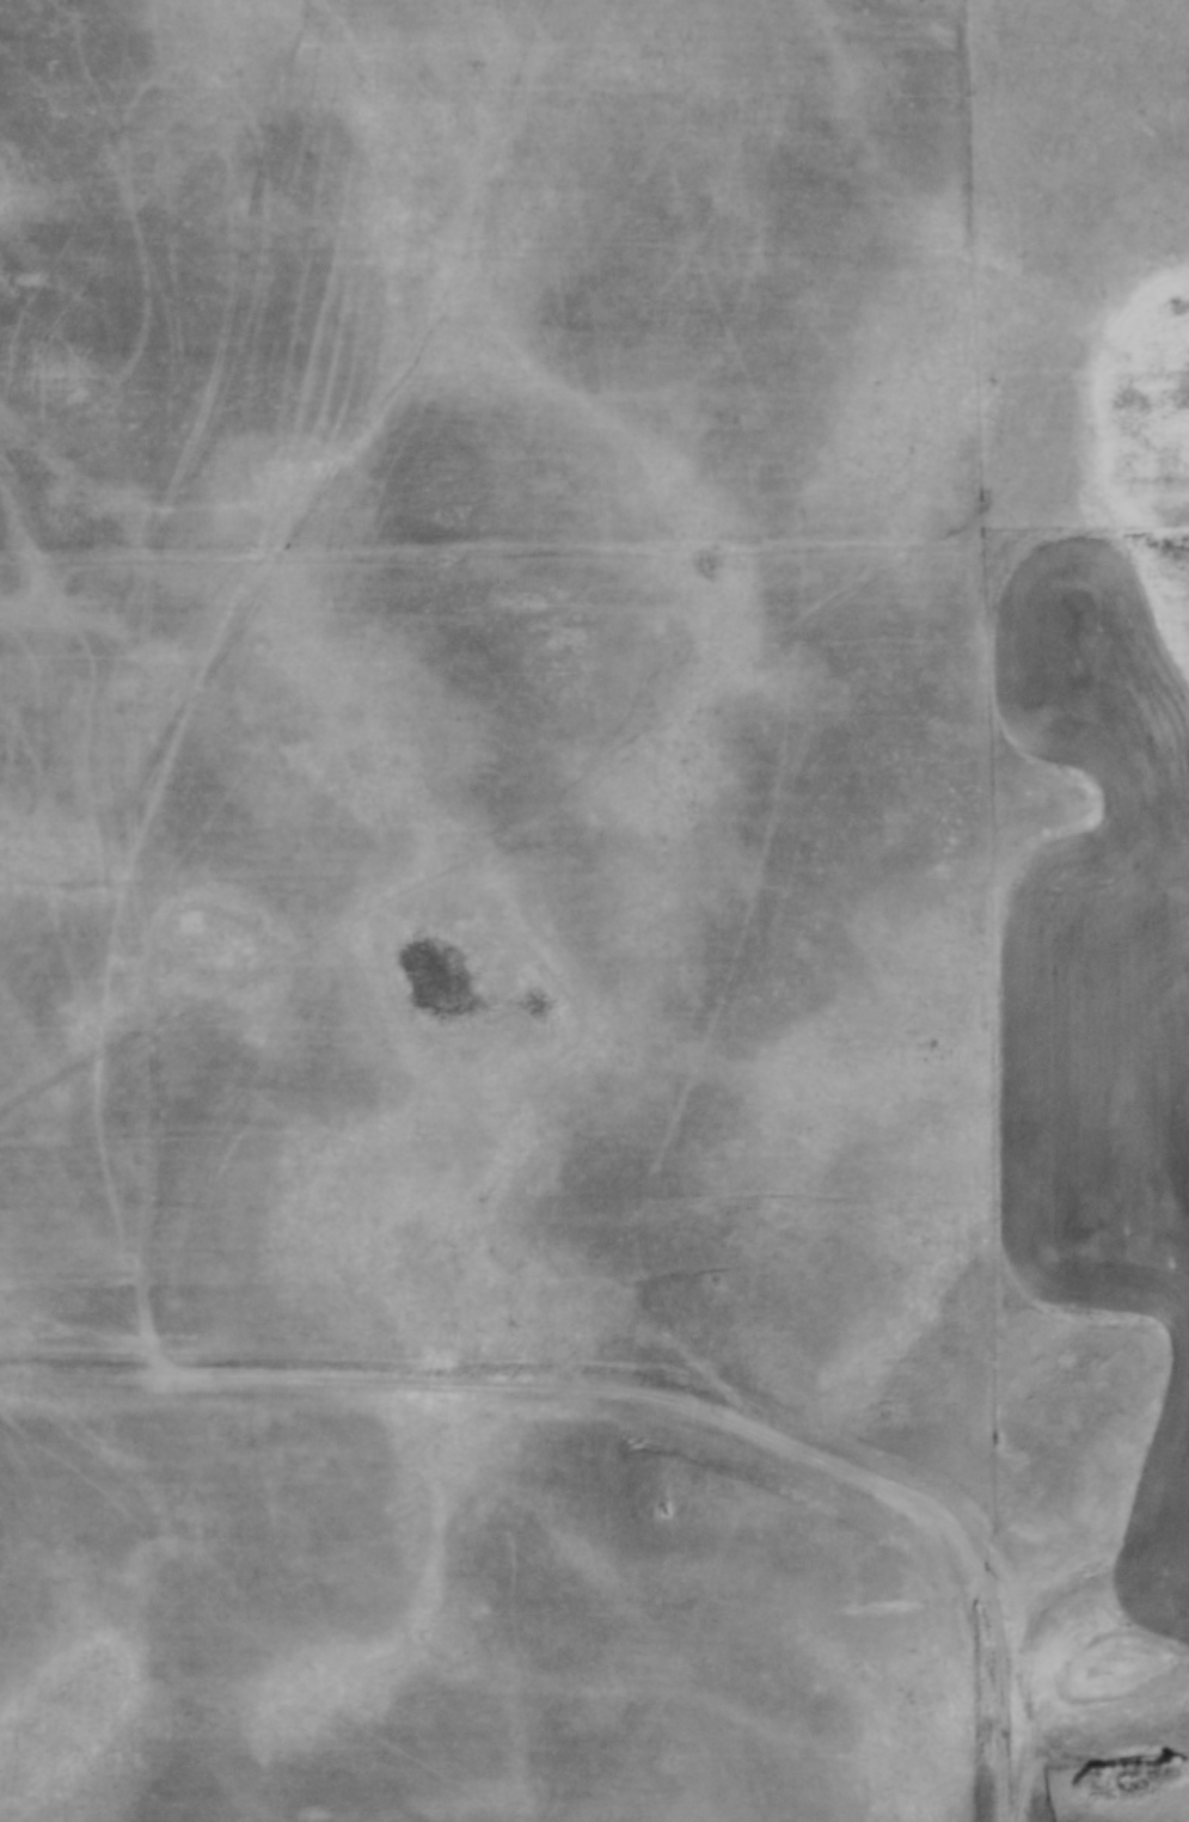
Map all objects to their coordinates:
road: (645, 1393)

